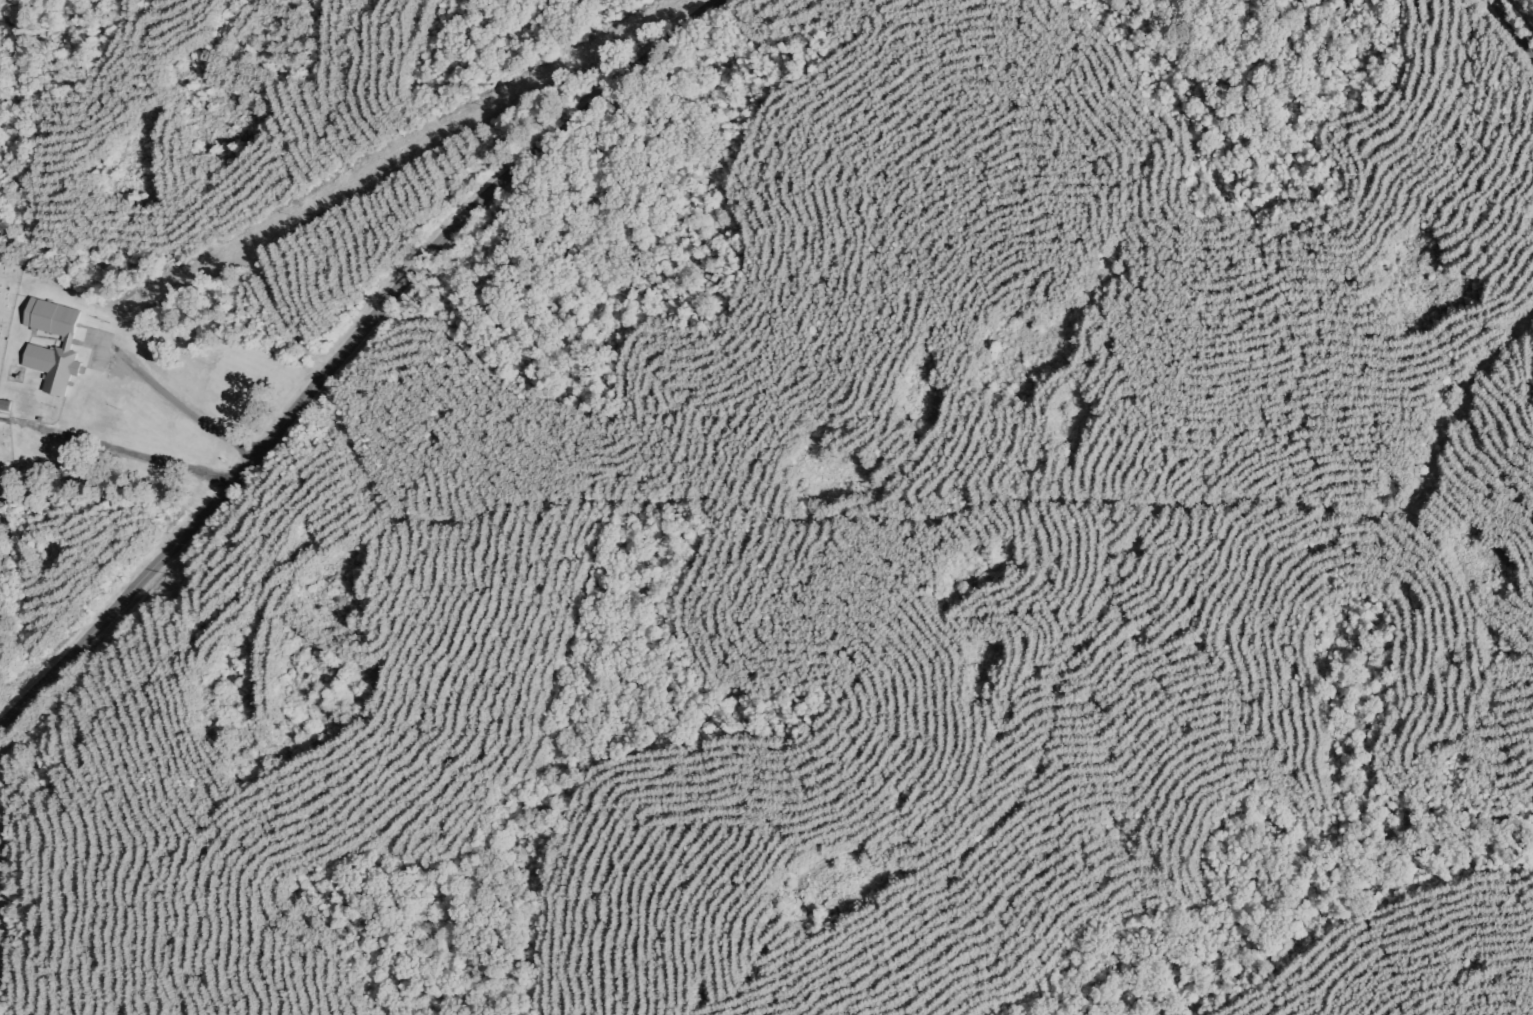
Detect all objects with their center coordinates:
road: (183, 389)
road: (374, 405)

